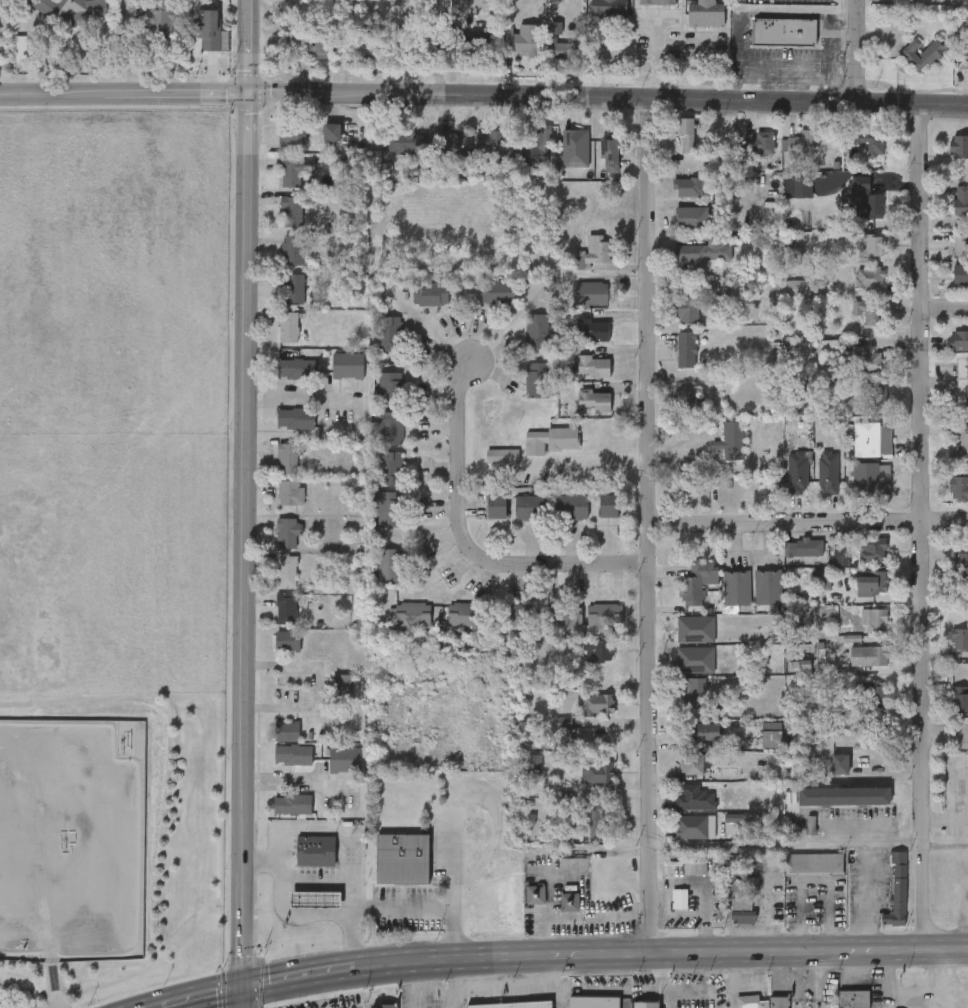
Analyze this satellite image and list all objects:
building: (611, 1)
building: (658, 1)
building: (74, 9)
building: (706, 12)
building: (159, 18)
building: (207, 27)
building: (784, 30)
building: (522, 38)
building: (473, 40)
building: (317, 44)
building: (562, 50)
road: (854, 51)
building: (922, 52)
building: (964, 53)
road: (658, 62)
road: (706, 68)
traffic signals: (250, 96)
road: (484, 97)
building: (332, 130)
building: (293, 131)
building: (688, 133)
building: (496, 139)
building: (405, 140)
building: (765, 140)
building: (800, 140)
building: (871, 141)
building: (449, 142)
building: (830, 142)
building: (538, 144)
building: (960, 145)
building: (602, 158)
building: (296, 168)
building: (804, 184)
building: (690, 185)
building: (867, 197)
building: (962, 198)
building: (293, 209)
building: (694, 215)
building: (876, 243)
building: (962, 245)
building: (295, 248)
building: (705, 249)
building: (591, 252)
building: (961, 271)
building: (871, 275)
building: (795, 286)
building: (294, 287)
building: (500, 291)
building: (591, 291)
building: (433, 292)
road: (944, 304)
building: (689, 307)
building: (871, 310)
building: (290, 326)
building: (594, 328)
building: (539, 330)
building: (391, 333)
building: (959, 340)
building: (688, 348)
building: (866, 358)
building: (350, 364)
building: (595, 365)
building: (297, 366)
building: (538, 378)
building: (390, 387)
building: (877, 393)
road: (330, 394)
building: (690, 396)
building: (967, 397)
building: (595, 398)
building: (296, 417)
building: (391, 426)
building: (887, 437)
building: (552, 438)
building: (736, 439)
building: (960, 448)
building: (503, 454)
building: (289, 456)
road: (588, 457)
building: (390, 466)
building: (799, 471)
building: (830, 471)
building: (868, 478)
building: (690, 485)
building: (959, 487)
building: (291, 490)
road: (243, 494)
building: (389, 506)
building: (608, 509)
building: (578, 510)
road: (807, 514)
road: (648, 526)
road: (925, 526)
building: (288, 532)
road: (464, 546)
building: (801, 547)
building: (874, 548)
building: (842, 551)
building: (962, 564)
building: (389, 565)
building: (288, 570)
building: (822, 580)
building: (698, 582)
building: (768, 586)
building: (737, 587)
building: (287, 607)
building: (413, 612)
building: (467, 613)
building: (520, 613)
building: (606, 613)
building: (565, 614)
building: (875, 617)
building: (960, 638)
building: (288, 639)
building: (600, 649)
building: (871, 655)
road: (319, 684)
building: (873, 691)
building: (694, 693)
building: (961, 698)
building: (598, 704)
building: (701, 730)
building: (773, 737)
road: (945, 739)
building: (291, 743)
building: (346, 758)
building: (535, 762)
building: (694, 763)
building: (841, 763)
building: (599, 771)
road: (294, 780)
building: (845, 796)
building: (696, 797)
building: (293, 803)
road: (945, 815)
building: (599, 818)
building: (693, 825)
road: (338, 829)
road: (762, 843)
road: (945, 843)
building: (317, 849)
building: (404, 857)
building: (815, 863)
road: (871, 872)
road: (60, 879)
building: (899, 891)
building: (536, 892)
building: (681, 898)
building: (571, 901)
road: (281, 903)
road: (396, 905)
building: (743, 909)
road: (661, 954)
road: (298, 979)
road: (451, 985)
road: (415, 986)
traffic signals: (242, 989)
road: (318, 992)
road: (201, 998)
road: (242, 998)
building: (855, 999)
building: (595, 1002)
building: (764, 1002)
building: (512, 1004)
building: (384, 1005)
building: (647, 1005)

